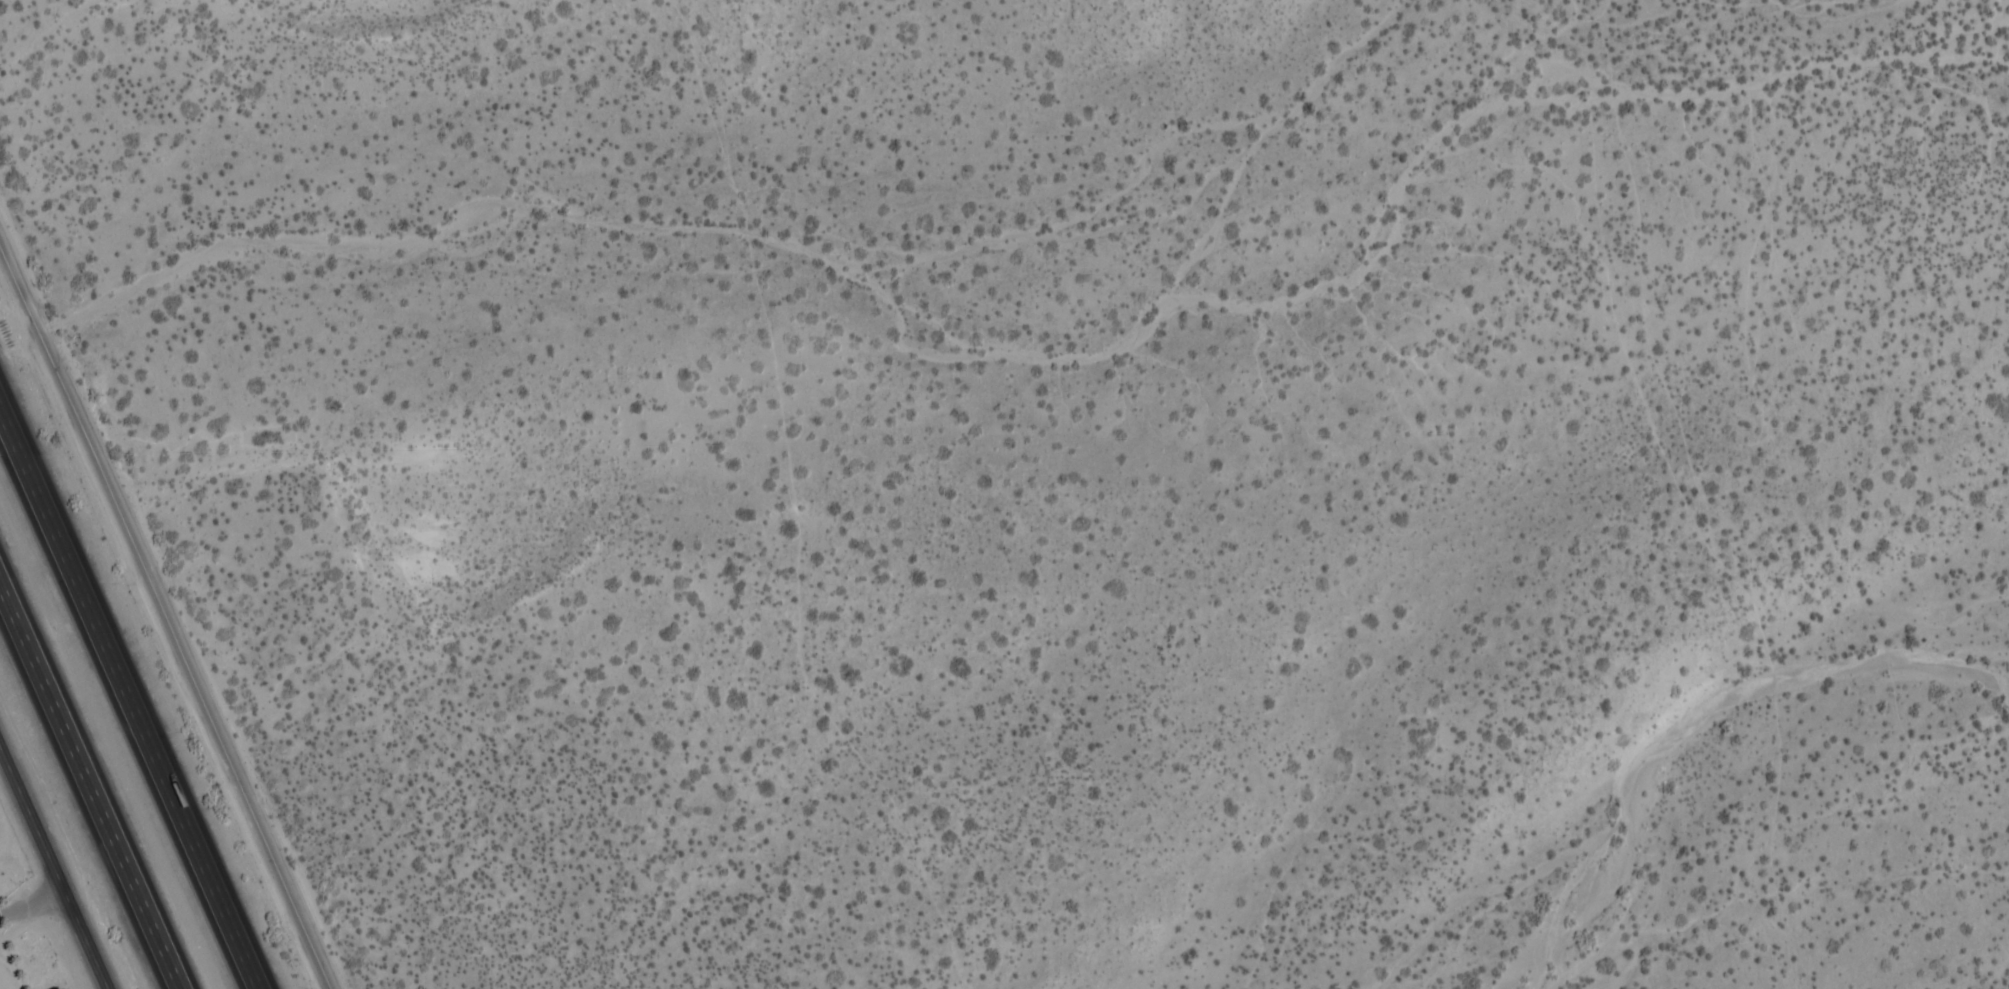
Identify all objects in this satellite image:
road: (167, 614)
road: (129, 698)
road: (89, 787)
road: (55, 863)
road: (36, 911)

